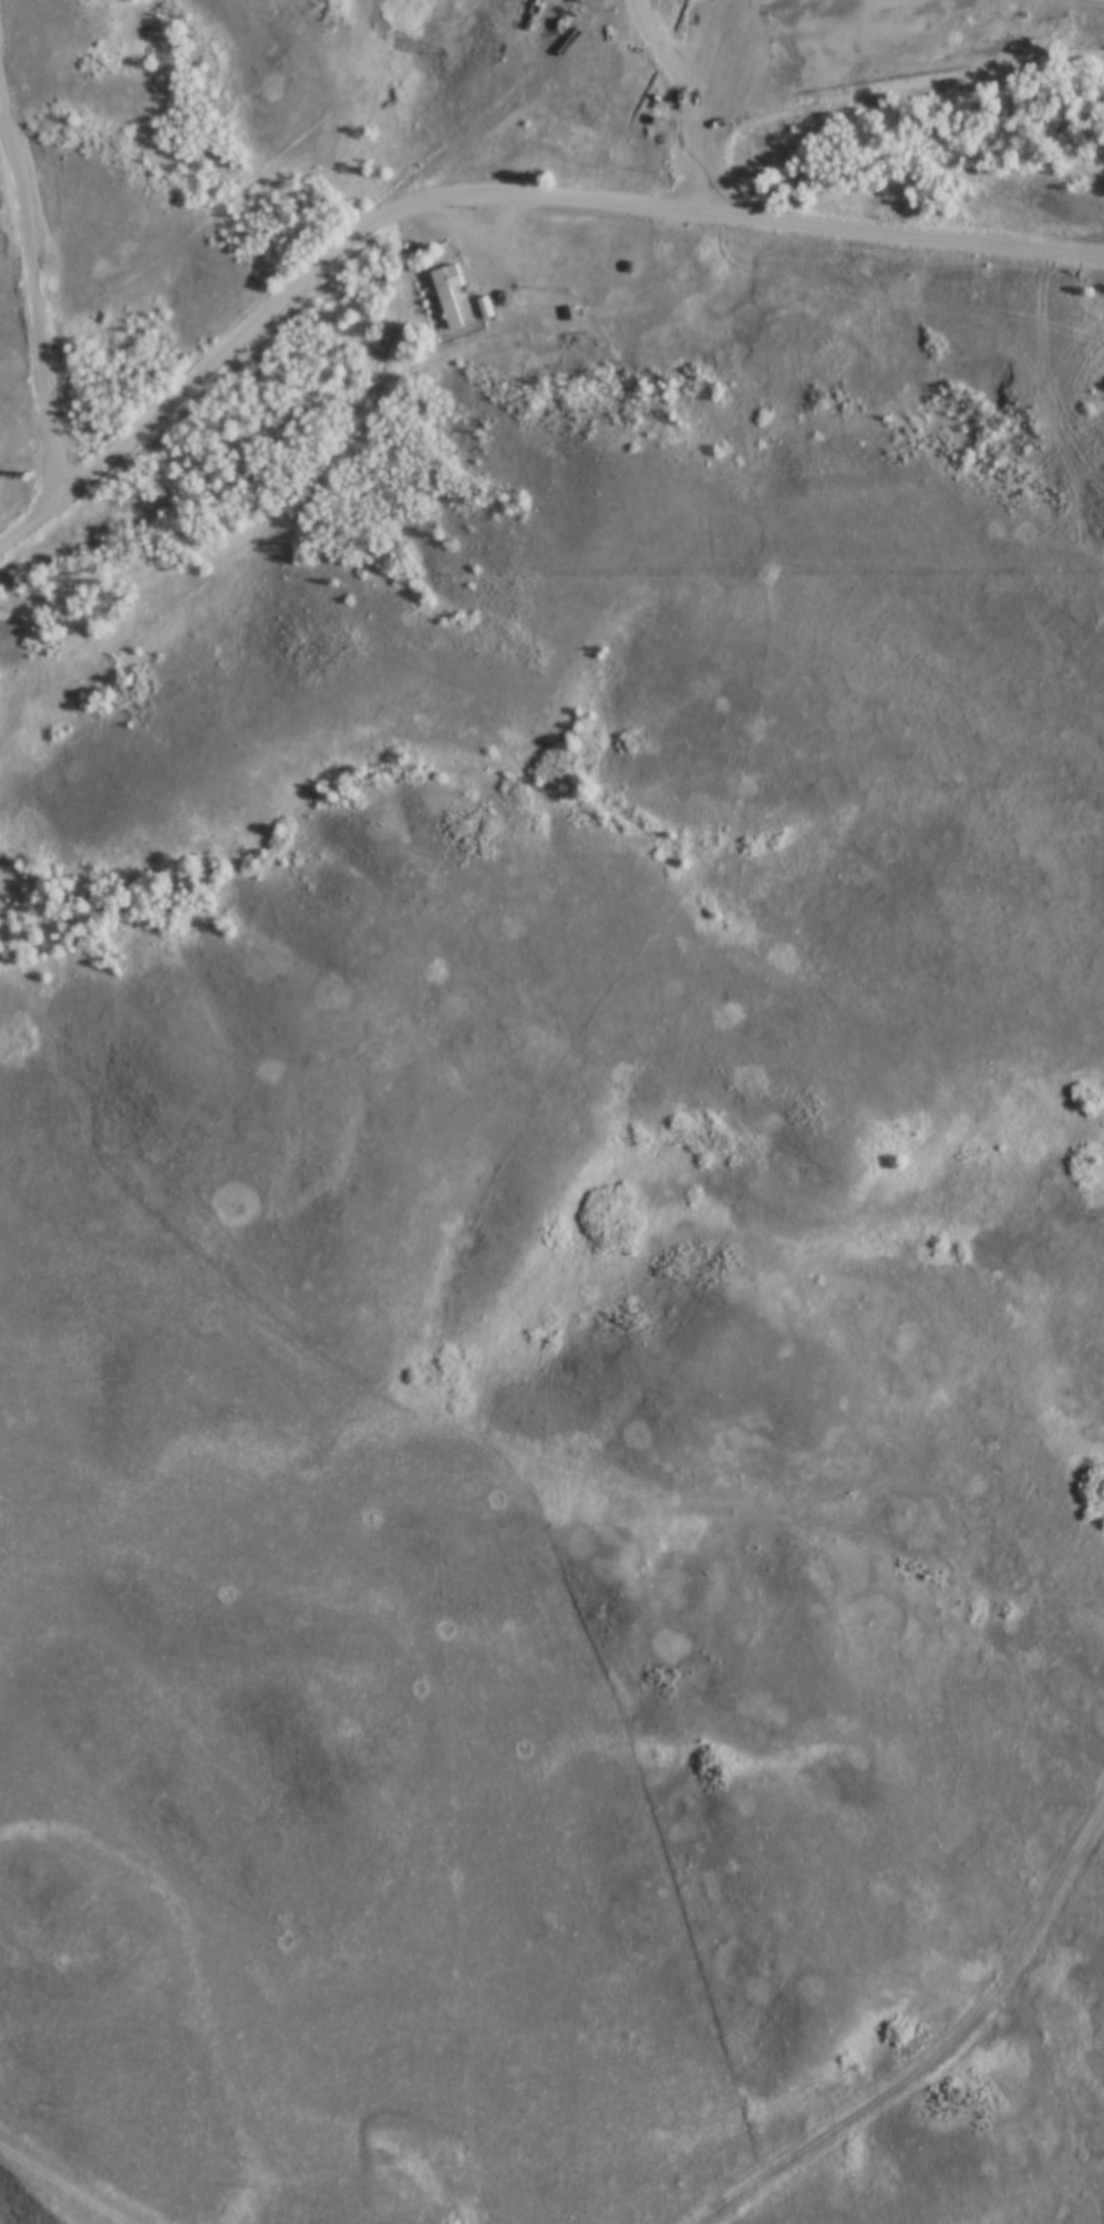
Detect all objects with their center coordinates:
road: (591, 34)
road: (492, 192)
road: (484, 245)
building: (446, 292)
building: (483, 307)

